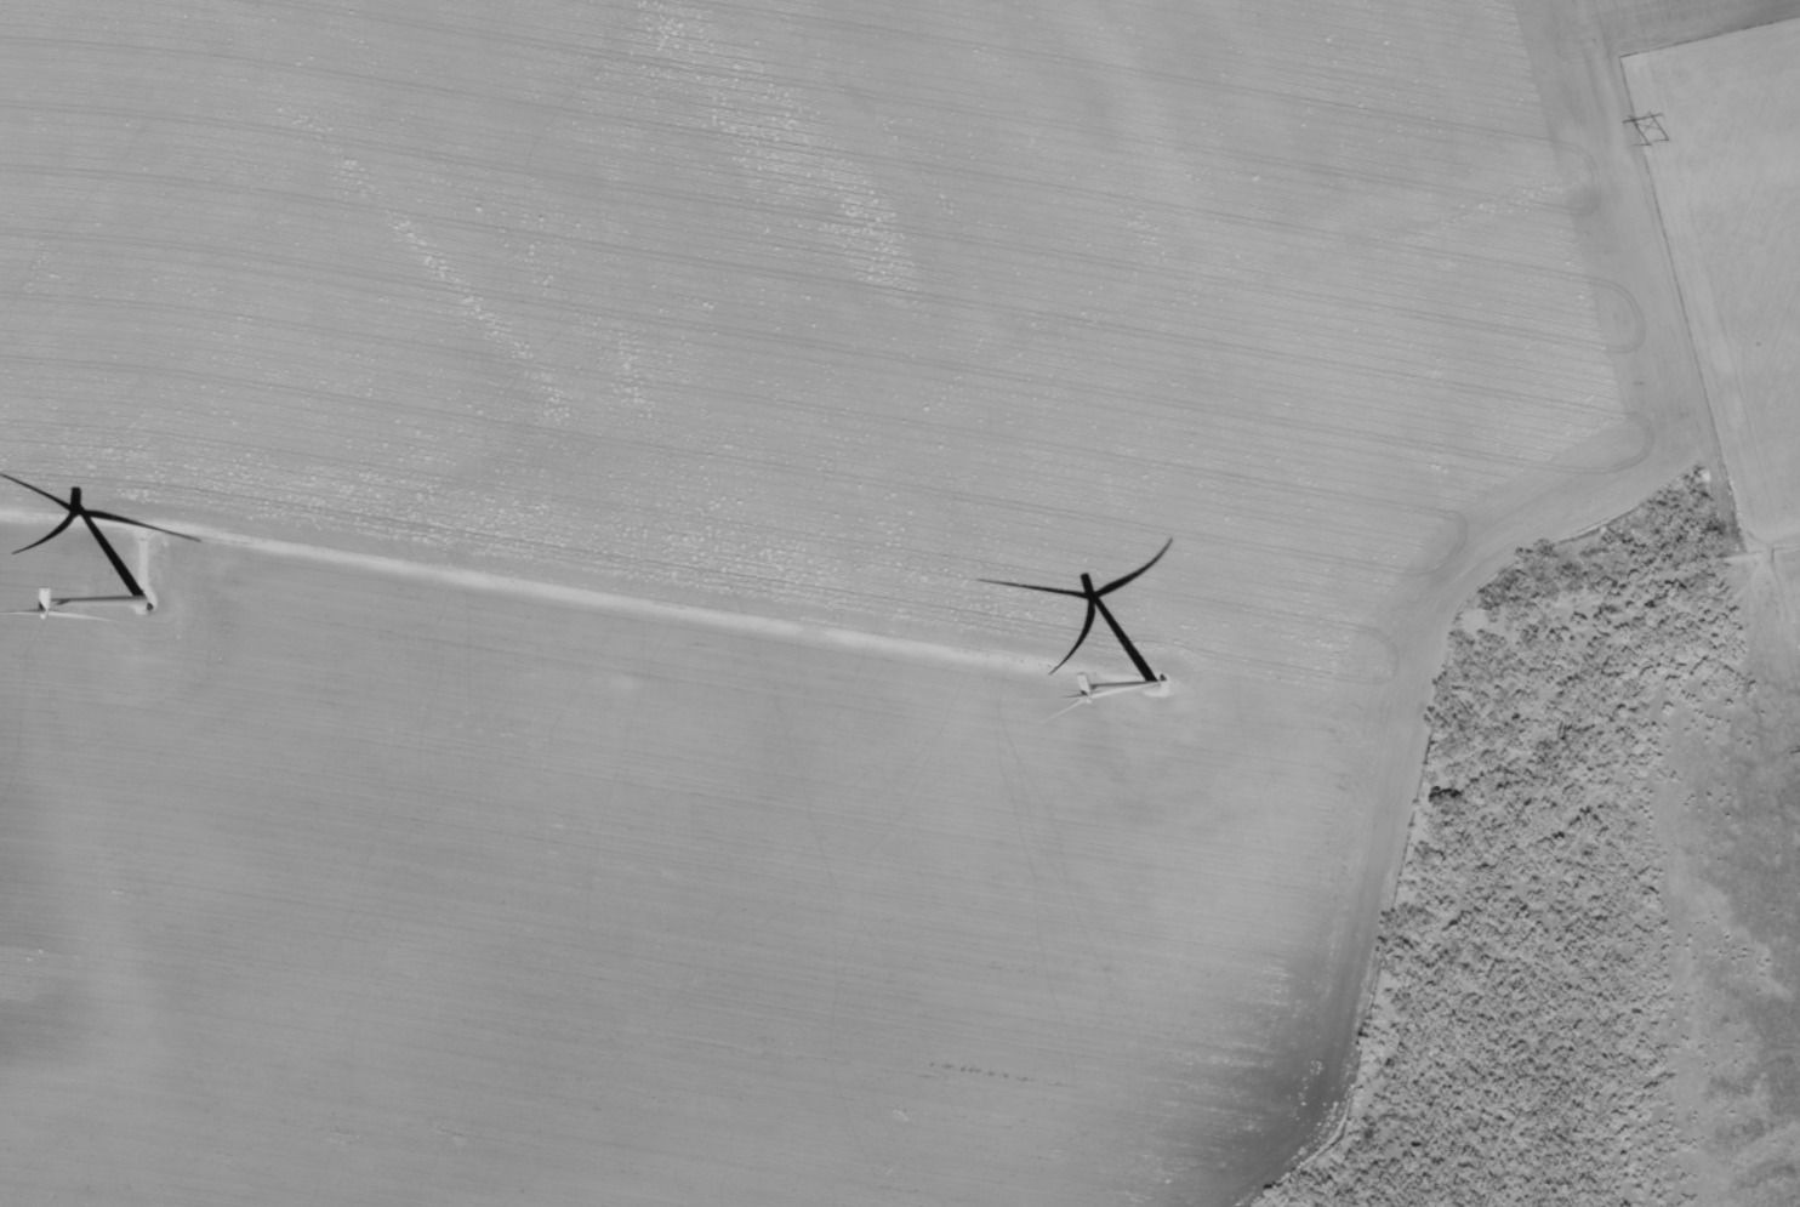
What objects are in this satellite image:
road: (1572, 84)
power tower: (1656, 142)
road: (1041, 320)
wind turbine: (141, 602)
road: (124, 677)
wind turbine: (1156, 685)
road: (1479, 837)

